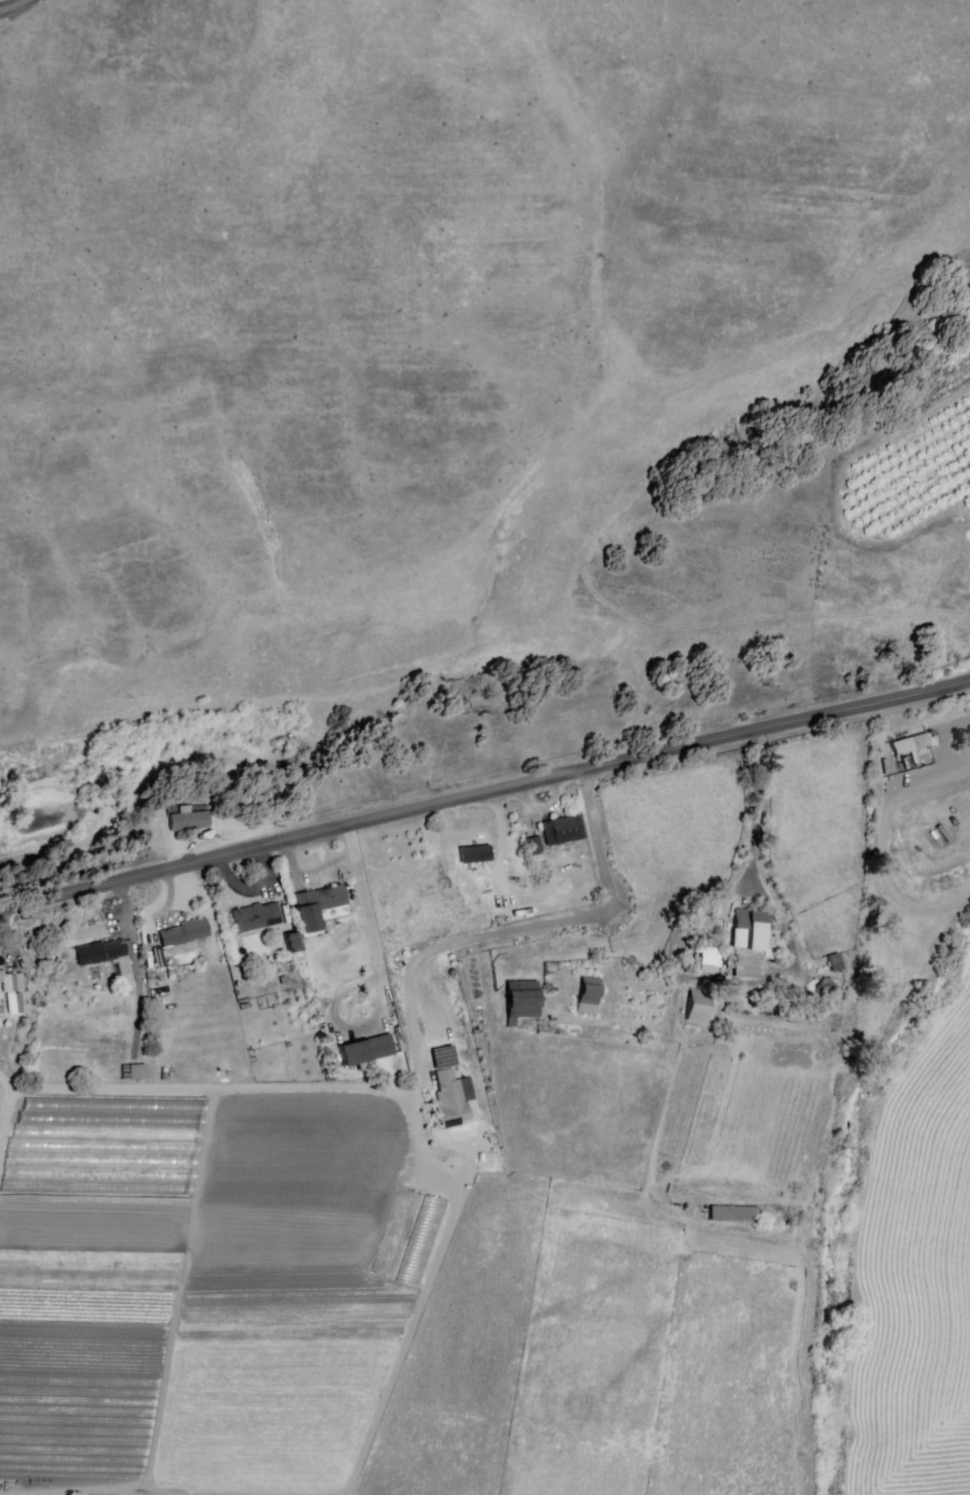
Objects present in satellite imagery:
road: (13, 7)
building: (911, 746)
road: (484, 795)
building: (567, 832)
building: (536, 845)
building: (477, 855)
road: (755, 858)
building: (319, 907)
building: (257, 918)
building: (186, 933)
building: (751, 943)
building: (294, 944)
building: (106, 956)
building: (709, 957)
building: (837, 963)
road: (137, 968)
storage tank: (454, 974)
building: (13, 983)
road: (384, 983)
building: (827, 990)
building: (589, 994)
building: (521, 1000)
building: (698, 1004)
building: (16, 1005)
road: (603, 1021)
building: (369, 1052)
building: (139, 1074)
road: (214, 1091)
building: (452, 1102)
road: (12, 1116)
building: (109, 1118)
crop: (934, 1123)
crop: (2, 1126)
road: (815, 1148)
road: (456, 1176)
building: (734, 1212)
building: (411, 1236)
crop: (286, 1298)
crop: (87, 1304)
crop: (915, 1355)
crop: (600, 1358)

